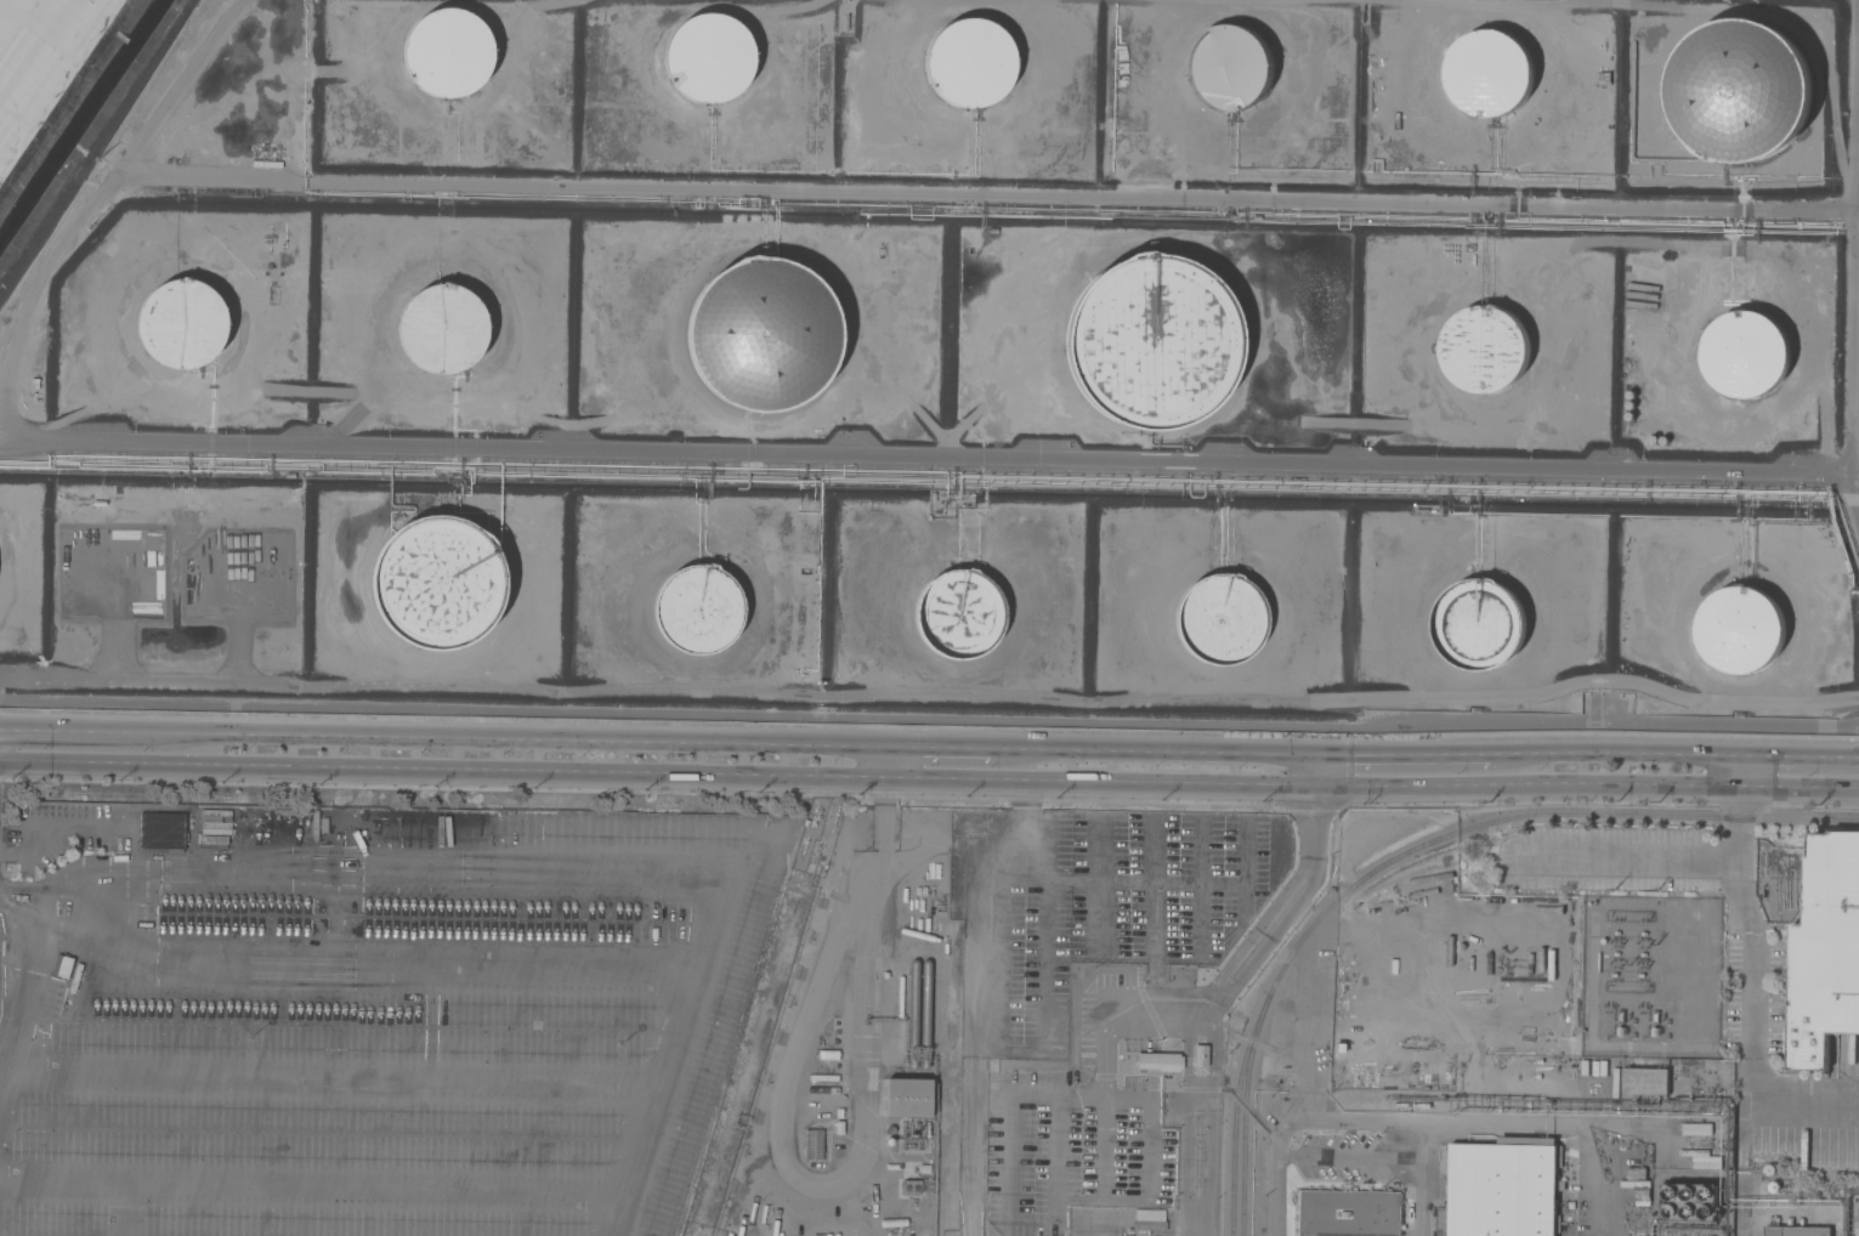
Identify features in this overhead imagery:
building: (447, 52)
building: (38, 57)
building: (707, 57)
building: (968, 63)
building: (1229, 67)
building: (1490, 73)
building: (1740, 90)
road: (109, 185)
road: (985, 195)
road: (1851, 260)
building: (181, 324)
building: (441, 328)
building: (761, 334)
building: (1150, 342)
building: (1485, 348)
building: (1746, 352)
road: (920, 458)
building: (436, 583)
building: (697, 608)
building: (958, 614)
building: (1218, 619)
building: (1479, 624)
building: (1740, 629)
road: (107, 732)
road: (551, 739)
road: (963, 748)
road: (1177, 752)
traffic signals: (1316, 754)
road: (1638, 754)
road: (1423, 755)
road: (1802, 756)
road: (443, 771)
road: (1316, 771)
road: (1101, 783)
road: (1587, 786)
traffic signals: (1316, 788)
road: (885, 796)
railway: (1521, 816)
road: (57, 829)
building: (161, 832)
road: (540, 866)
building: (1825, 951)
building: (936, 954)
road: (11, 957)
building: (61, 966)
power substation: (1649, 975)
road: (1761, 975)
road: (18, 977)
road: (1223, 997)
building: (912, 1013)
building: (923, 1014)
road: (988, 1048)
building: (827, 1054)
building: (1198, 1055)
building: (1158, 1061)
building: (1645, 1082)
building: (906, 1098)
railway: (1236, 1119)
road: (1355, 1119)
railway: (1246, 1121)
building: (1684, 1129)
road: (970, 1136)
building: (812, 1144)
building: (1701, 1158)
road: (1008, 1168)
road: (845, 1177)
building: (909, 1186)
building: (1503, 1189)
building: (1689, 1201)
building: (1348, 1213)
building: (1149, 1215)
building: (1857, 1219)
building: (902, 1224)
building: (1796, 1231)

